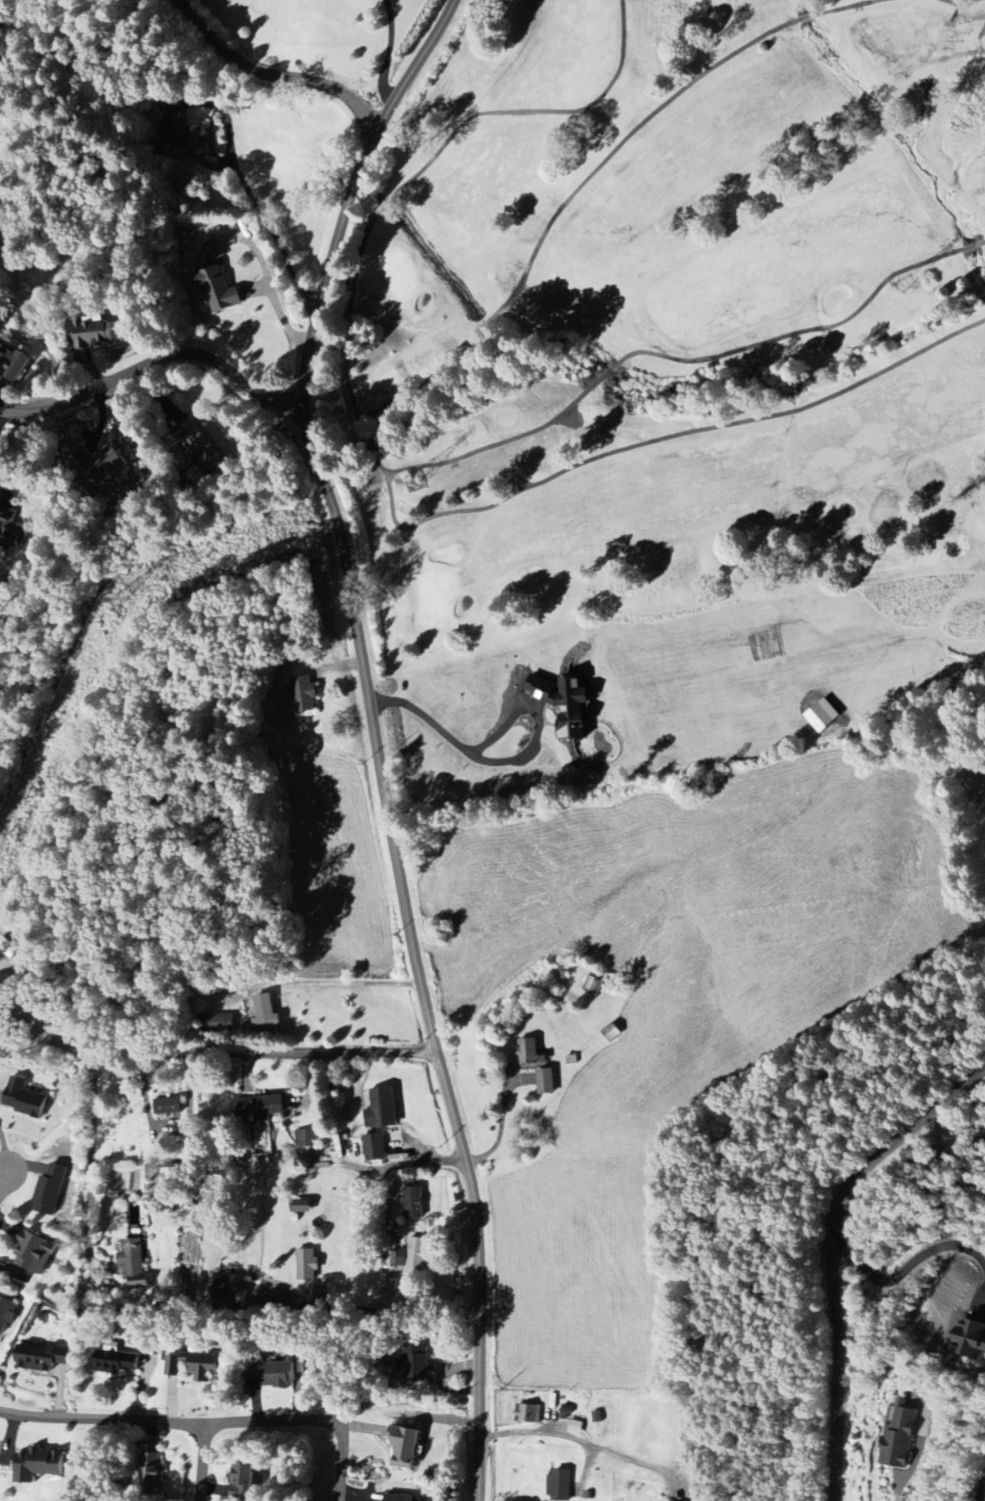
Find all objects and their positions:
road: (5, 39)
road: (388, 56)
road: (269, 82)
building: (187, 135)
power tower: (904, 287)
building: (219, 291)
park: (668, 312)
road: (26, 330)
building: (91, 335)
road: (154, 360)
building: (13, 363)
road: (2, 415)
building: (196, 439)
building: (99, 463)
power tower: (415, 482)
building: (10, 529)
power tower: (118, 600)
building: (304, 695)
building: (564, 704)
road: (374, 736)
road: (508, 764)
road: (336, 982)
building: (265, 1016)
road: (212, 1051)
building: (534, 1064)
building: (22, 1098)
building: (167, 1106)
building: (258, 1108)
building: (381, 1109)
road: (501, 1126)
road: (951, 1133)
building: (307, 1139)
building: (374, 1147)
road: (91, 1161)
road: (3, 1177)
building: (49, 1190)
building: (413, 1203)
building: (300, 1206)
building: (33, 1252)
road: (839, 1253)
building: (416, 1256)
building: (133, 1263)
building: (306, 1264)
road: (908, 1266)
building: (228, 1291)
road: (378, 1311)
building: (5, 1312)
building: (964, 1333)
building: (41, 1357)
building: (114, 1362)
building: (415, 1365)
building: (190, 1366)
building: (277, 1374)
building: (565, 1412)
building: (530, 1414)
road: (102, 1419)
road: (310, 1420)
building: (575, 1427)
building: (900, 1437)
road: (578, 1441)
building: (403, 1447)
road: (917, 1450)
road: (202, 1462)
building: (38, 1464)
building: (151, 1475)
building: (241, 1482)
building: (559, 1485)
building: (398, 1498)
building: (984, 1498)

